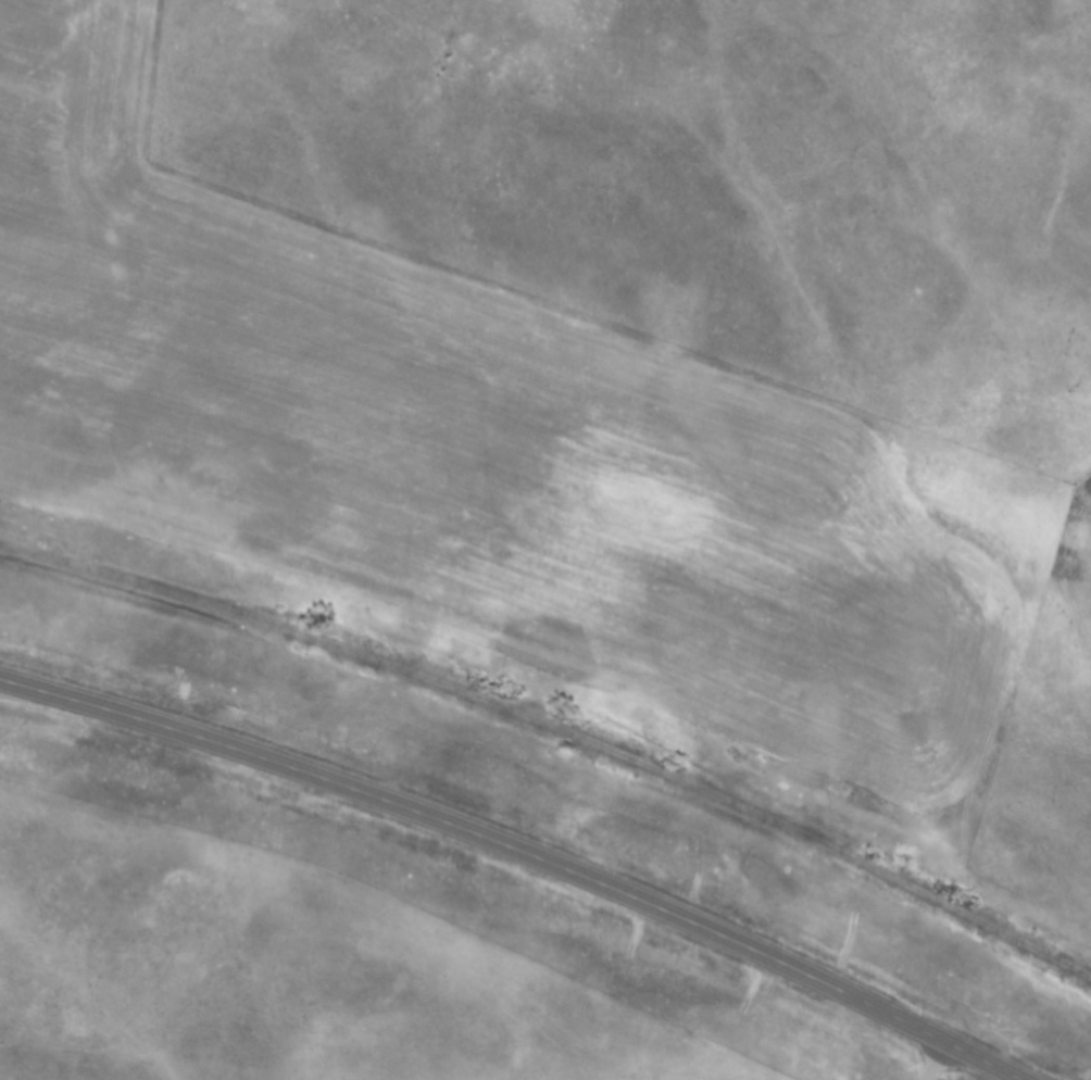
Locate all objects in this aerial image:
road: (526, 847)

